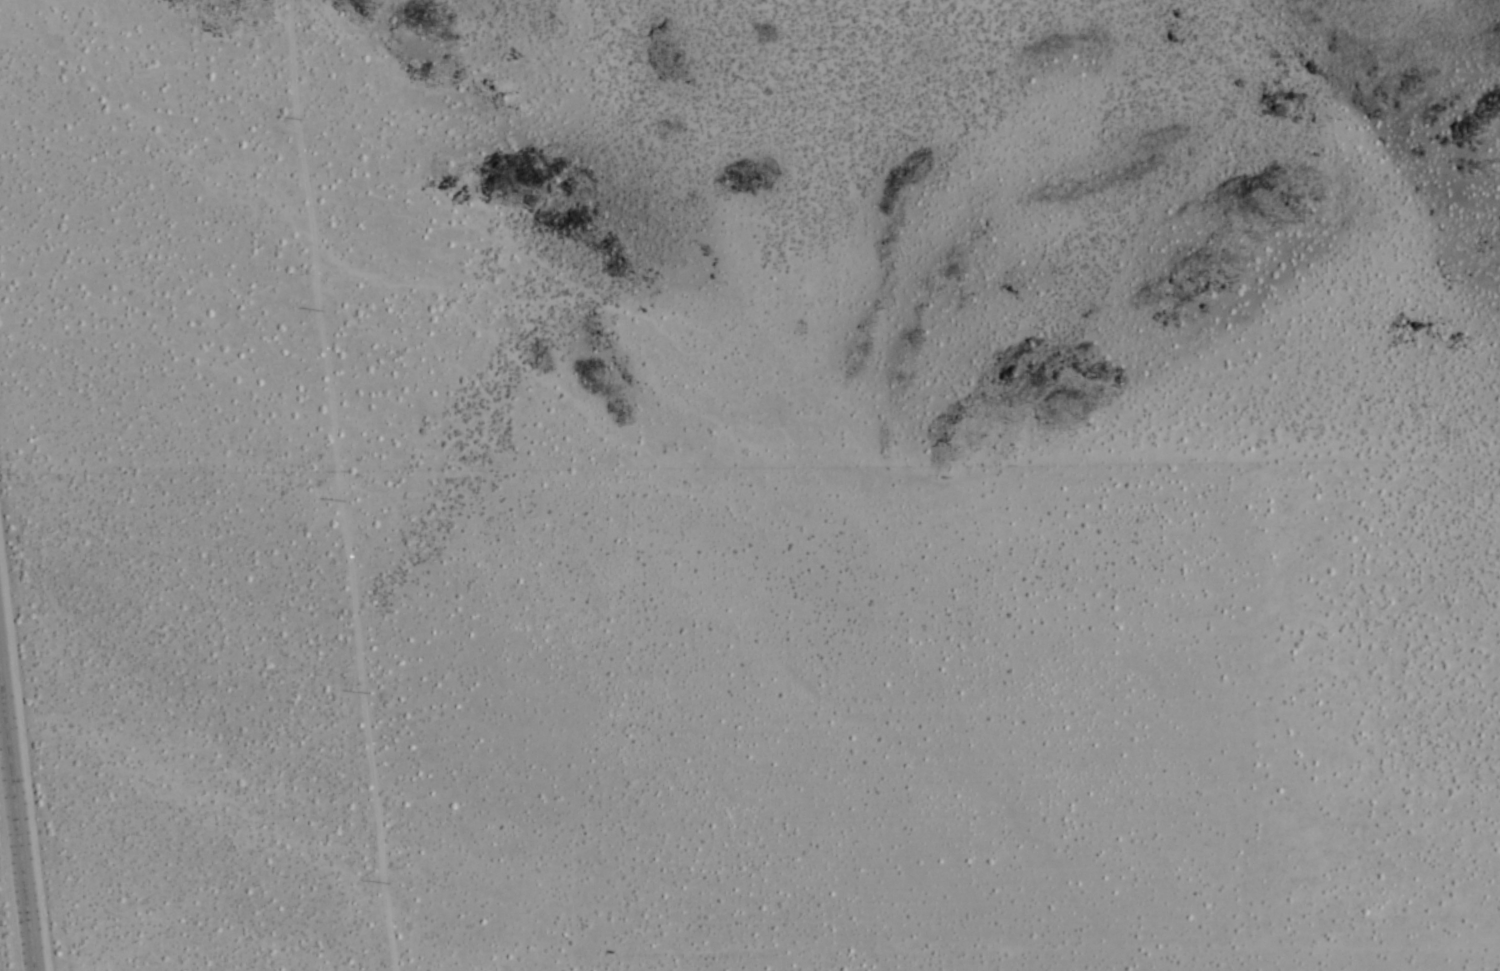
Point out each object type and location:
road: (339, 485)
road: (21, 796)

